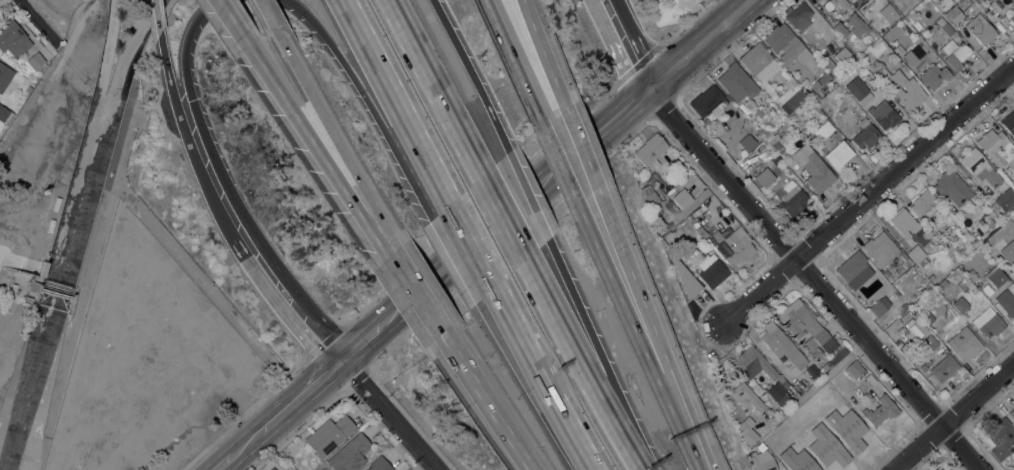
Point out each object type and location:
building: (827, 0)
building: (849, 0)
building: (840, 3)
road: (733, 6)
park: (671, 8)
building: (888, 13)
building: (954, 13)
building: (798, 15)
building: (1012, 18)
road: (39, 21)
road: (269, 24)
building: (857, 24)
road: (234, 26)
building: (945, 27)
building: (980, 28)
building: (840, 29)
road: (160, 35)
building: (13, 38)
building: (783, 42)
road: (637, 44)
building: (933, 45)
building: (878, 48)
road: (616, 50)
building: (955, 53)
road: (545, 54)
building: (843, 55)
building: (861, 56)
road: (340, 58)
building: (35, 61)
road: (513, 62)
building: (759, 64)
building: (833, 71)
road: (475, 74)
building: (934, 75)
building: (5, 76)
building: (824, 77)
building: (737, 82)
building: (816, 85)
road: (436, 87)
building: (912, 87)
building: (859, 90)
building: (790, 97)
building: (816, 98)
building: (830, 98)
building: (708, 101)
road: (194, 103)
road: (392, 103)
building: (3, 112)
building: (759, 112)
building: (884, 114)
building: (1009, 121)
building: (823, 130)
building: (764, 131)
building: (866, 135)
building: (1013, 139)
building: (749, 141)
building: (775, 142)
building: (996, 146)
road: (191, 148)
road: (581, 148)
building: (651, 148)
road: (335, 151)
road: (319, 153)
building: (839, 155)
road: (568, 162)
road: (560, 165)
road: (414, 167)
building: (980, 167)
building: (813, 168)
building: (765, 177)
building: (953, 186)
road: (868, 194)
road: (528, 195)
building: (650, 196)
building: (683, 198)
building: (1005, 199)
building: (793, 200)
building: (925, 203)
road: (504, 216)
building: (904, 222)
building: (990, 222)
building: (697, 227)
building: (111, 230)
road: (259, 238)
road: (235, 241)
building: (732, 245)
road: (469, 247)
building: (880, 248)
building: (951, 249)
building: (918, 255)
building: (907, 262)
road: (91, 264)
building: (42, 268)
building: (854, 269)
building: (711, 270)
building: (973, 276)
building: (996, 276)
building: (931, 277)
road: (816, 280)
building: (687, 281)
building: (941, 285)
building: (32, 286)
dam: (57, 287)
road: (206, 287)
road: (414, 296)
building: (27, 299)
building: (1006, 301)
building: (960, 303)
building: (33, 305)
building: (904, 305)
building: (879, 306)
road: (645, 307)
road: (314, 310)
building: (68, 314)
road: (288, 315)
road: (635, 316)
building: (927, 316)
building: (988, 322)
building: (806, 327)
road: (589, 331)
road: (362, 342)
road: (572, 342)
building: (932, 342)
building: (964, 343)
building: (782, 345)
road: (522, 347)
building: (902, 347)
building: (837, 355)
building: (755, 363)
building: (824, 366)
building: (923, 367)
building: (854, 368)
building: (942, 369)
building: (813, 371)
building: (870, 379)
building: (778, 393)
road: (302, 394)
building: (746, 397)
road: (483, 404)
building: (880, 410)
building: (1011, 412)
road: (388, 414)
road: (955, 418)
building: (748, 430)
building: (329, 434)
road: (569, 438)
building: (1002, 438)
road: (250, 439)
road: (631, 448)
road: (702, 448)
road: (43, 453)
building: (350, 454)
building: (762, 458)
road: (226, 460)
building: (379, 464)
building: (272, 468)
building: (948, 469)

